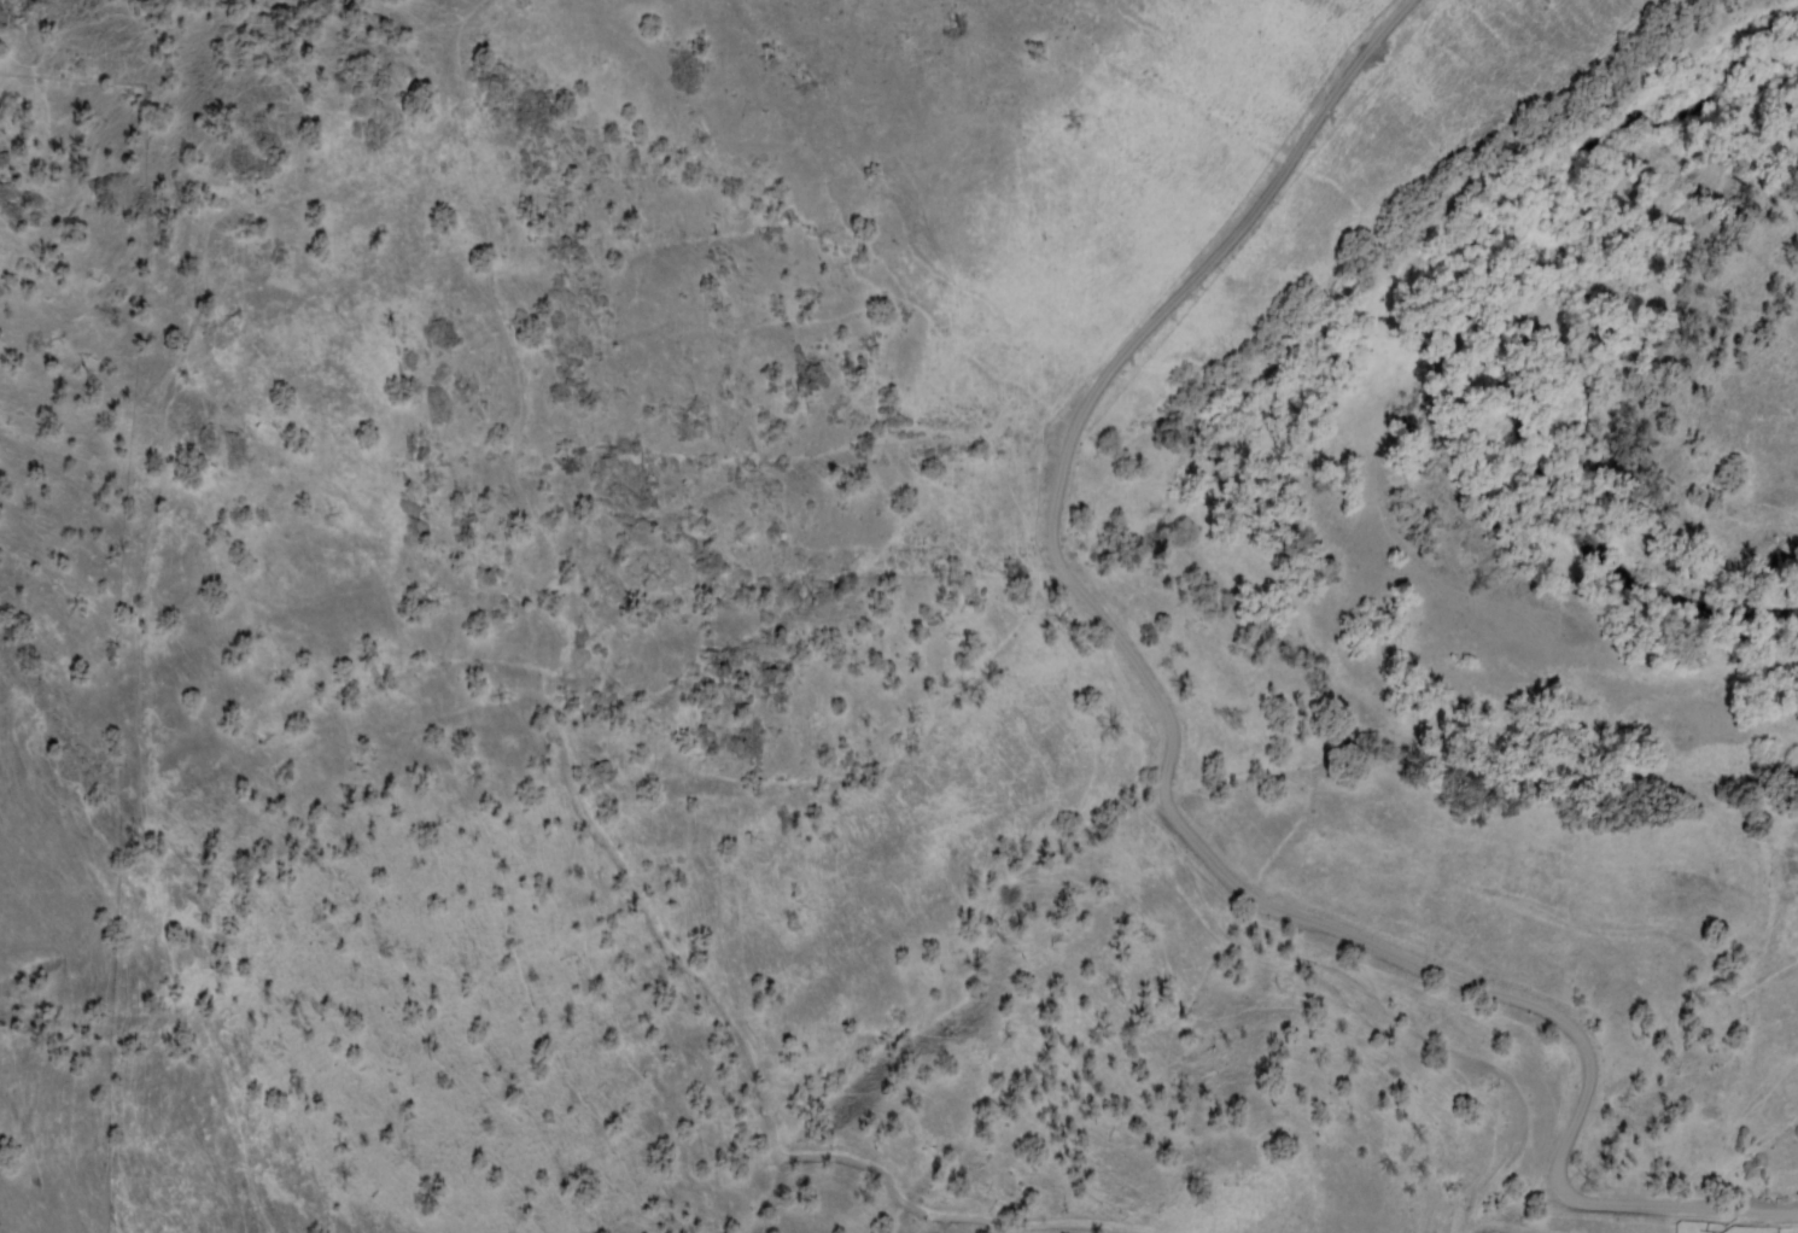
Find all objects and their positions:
road: (1136, 737)

